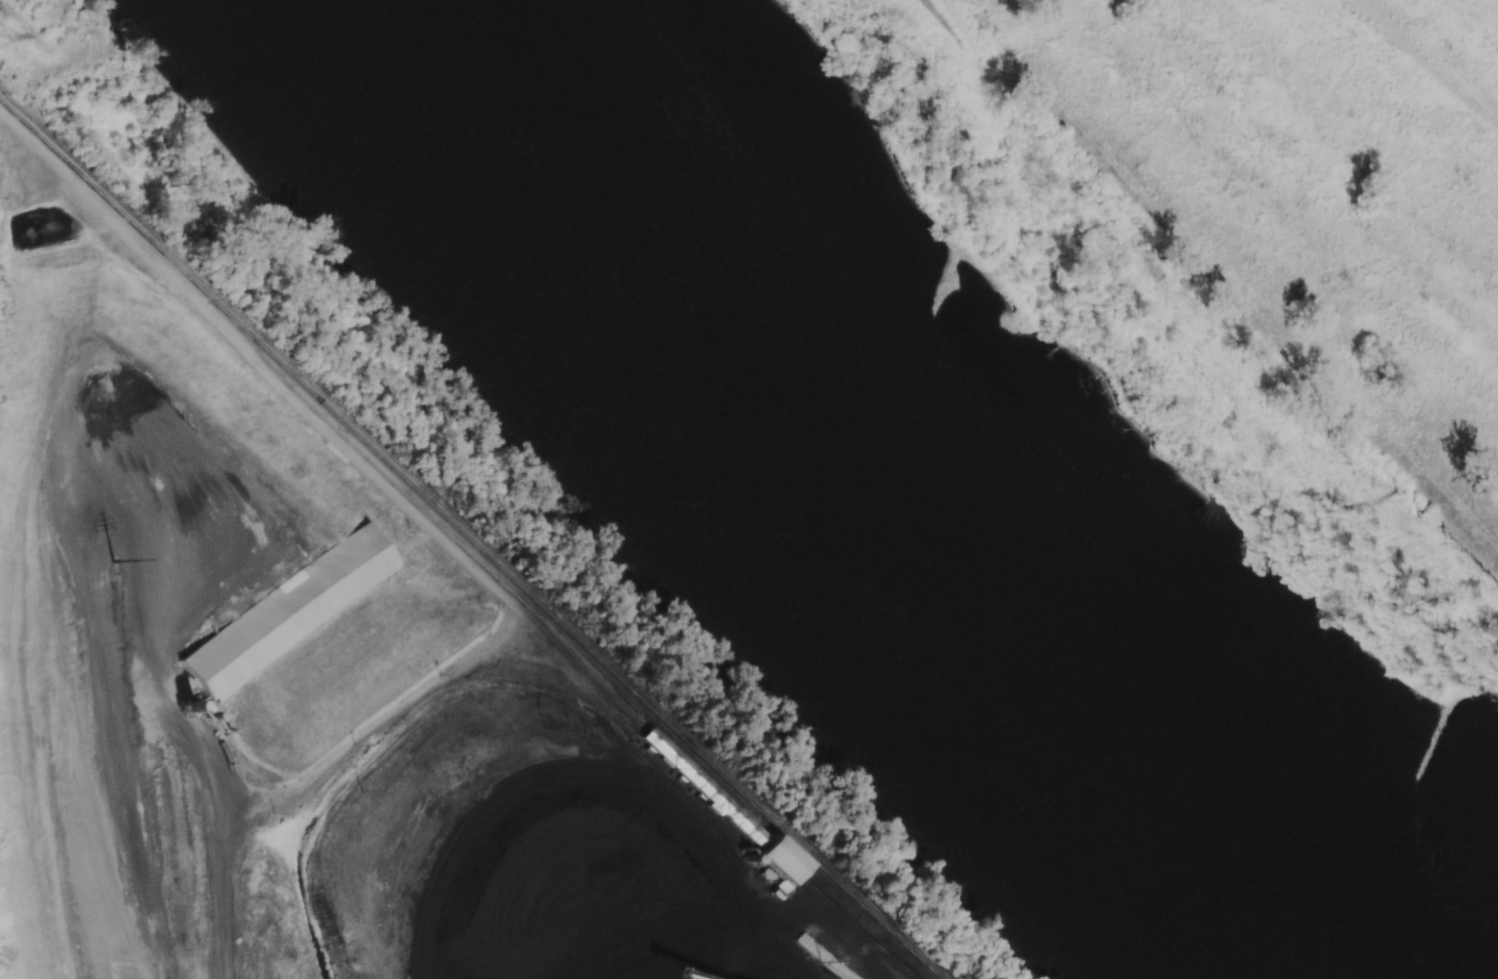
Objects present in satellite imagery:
railway: (112, 209)
railway: (387, 464)
river: (903, 489)
power tower: (111, 562)
railway: (711, 791)
building: (732, 814)
railway: (904, 970)

